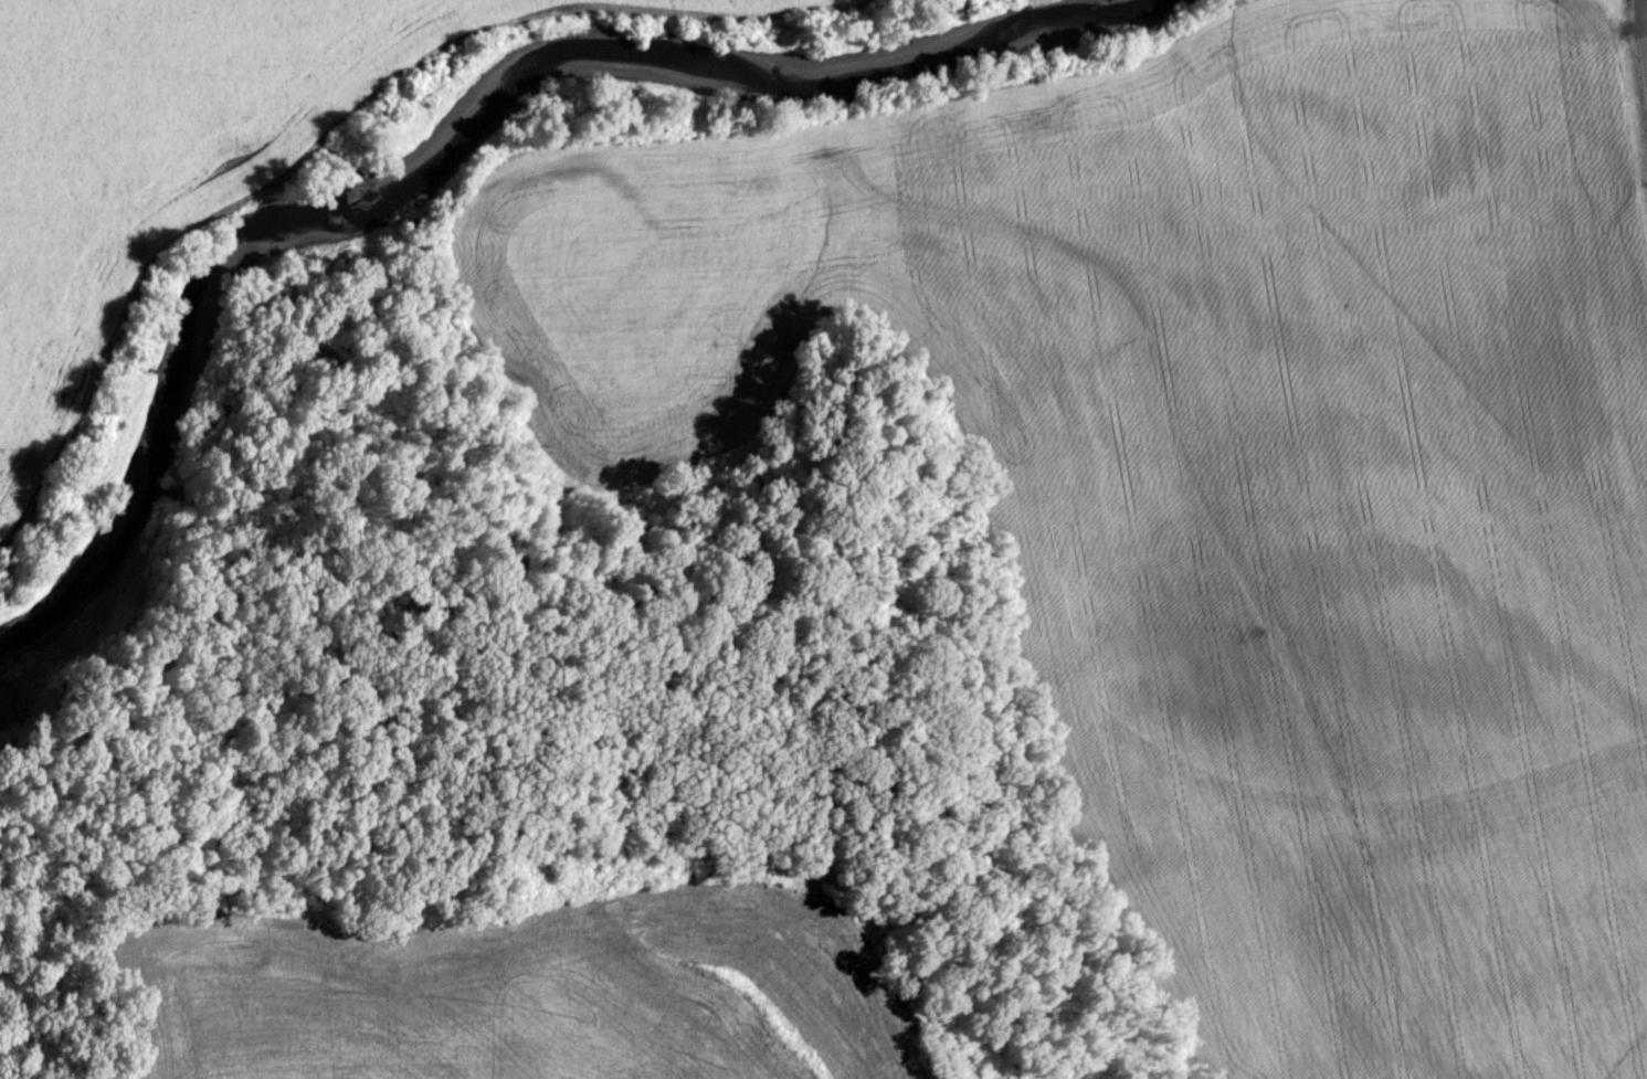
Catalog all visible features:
road: (1646, 7)
river: (429, 146)

